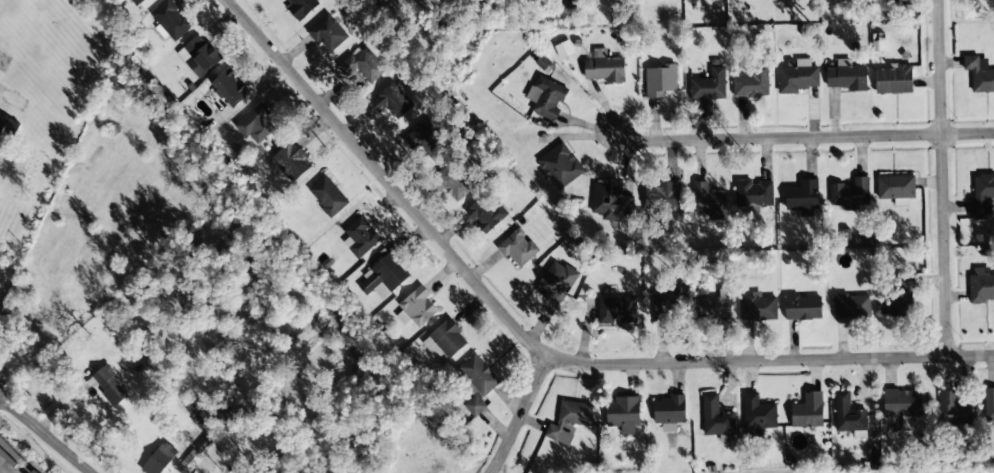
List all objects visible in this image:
building: (644, 0)
building: (902, 0)
building: (467, 1)
building: (136, 2)
building: (384, 3)
building: (303, 6)
building: (171, 19)
building: (327, 33)
building: (202, 53)
building: (362, 64)
building: (604, 69)
building: (978, 75)
building: (846, 78)
building: (798, 79)
building: (660, 80)
building: (894, 80)
building: (751, 83)
building: (709, 85)
building: (230, 88)
building: (549, 99)
building: (393, 102)
road: (941, 120)
building: (256, 123)
building: (8, 124)
road: (800, 138)
building: (427, 143)
building: (292, 161)
building: (560, 165)
building: (452, 181)
building: (896, 186)
building: (850, 192)
building: (752, 193)
building: (982, 194)
building: (327, 196)
building: (662, 196)
building: (803, 197)
building: (708, 199)
building: (610, 200)
building: (484, 214)
building: (361, 237)
building: (518, 247)
building: (384, 275)
building: (557, 280)
building: (982, 287)
building: (898, 299)
road: (946, 299)
building: (669, 302)
building: (417, 306)
building: (851, 306)
building: (713, 307)
building: (803, 307)
building: (757, 308)
building: (617, 309)
building: (447, 338)
road: (535, 344)
building: (478, 381)
building: (109, 386)
building: (989, 403)
building: (902, 404)
building: (669, 409)
building: (809, 410)
building: (953, 410)
building: (228, 412)
road: (520, 413)
building: (623, 413)
building: (847, 414)
building: (758, 415)
building: (715, 416)
building: (568, 420)
road: (43, 434)
building: (162, 457)
parking lot: (15, 460)
building: (190, 461)

